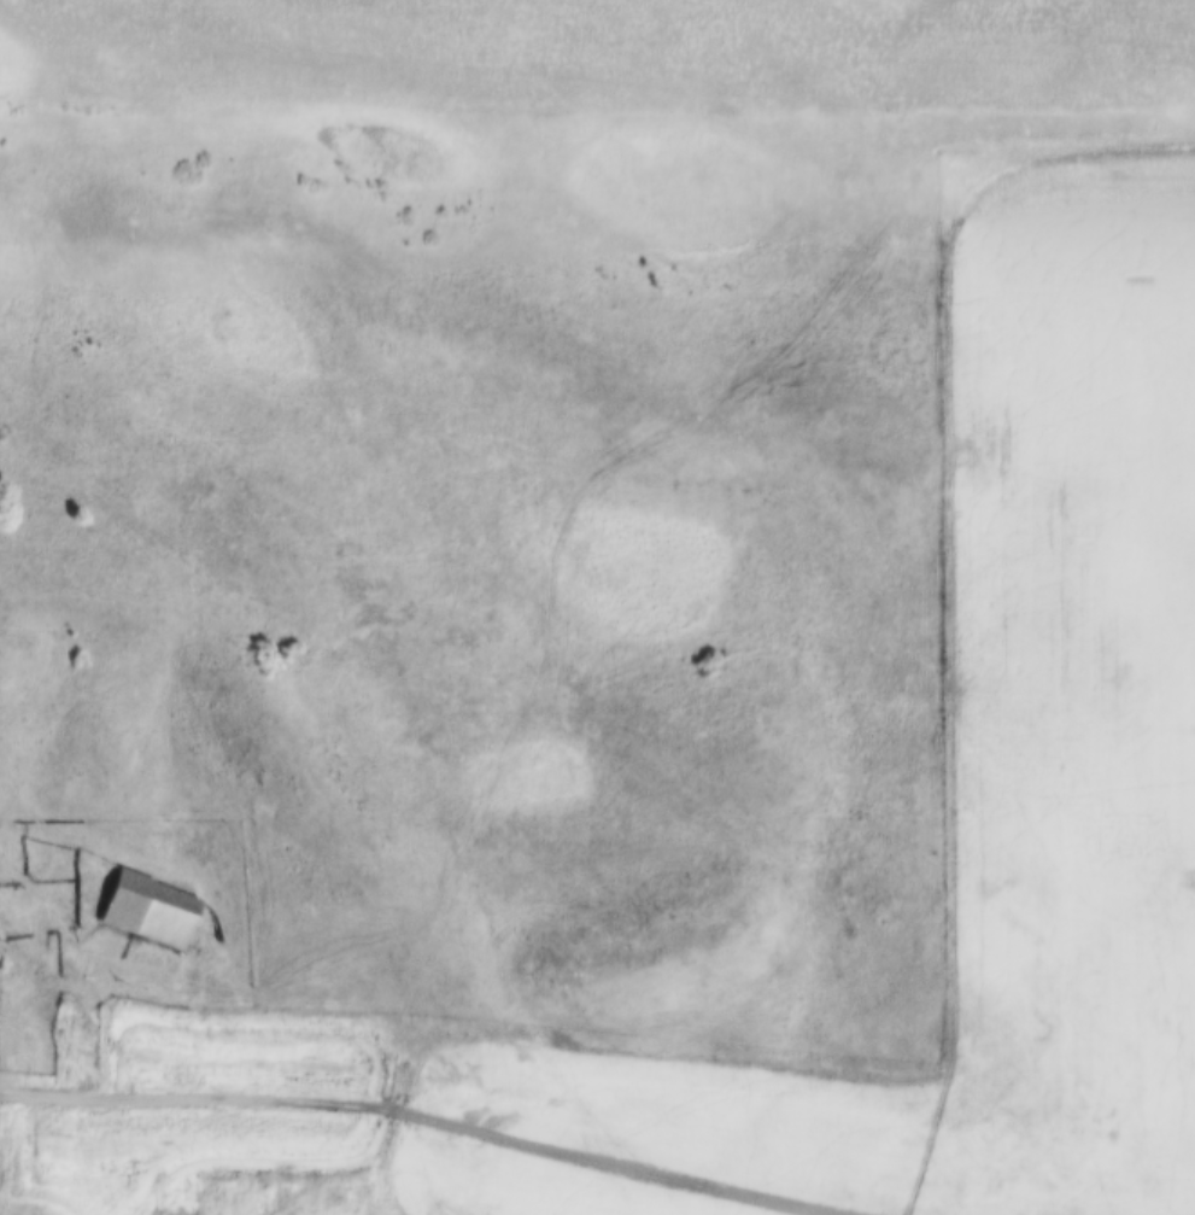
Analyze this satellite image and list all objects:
building: (143, 898)

